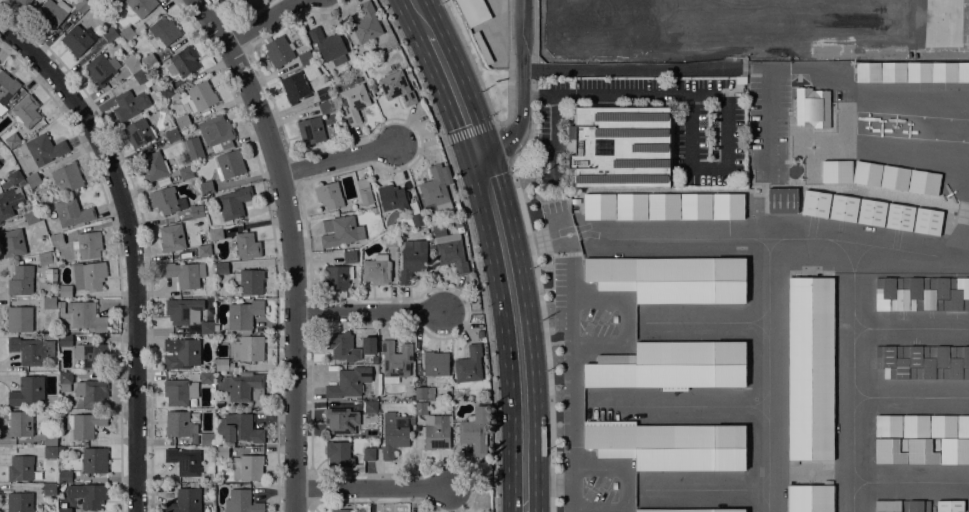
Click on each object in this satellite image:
building: (112, 0)
building: (90, 1)
building: (23, 3)
building: (81, 5)
building: (141, 6)
building: (52, 12)
road: (240, 16)
road: (420, 17)
road: (260, 21)
building: (366, 23)
building: (485, 28)
building: (127, 33)
building: (163, 33)
building: (109, 34)
building: (78, 39)
building: (328, 45)
building: (278, 52)
building: (305, 58)
road: (470, 59)
building: (149, 61)
building: (182, 62)
building: (131, 63)
road: (509, 65)
building: (100, 69)
building: (962, 71)
building: (868, 72)
building: (893, 72)
building: (918, 72)
building: (944, 72)
building: (141, 76)
building: (409, 76)
building: (7, 87)
building: (294, 87)
building: (396, 87)
road: (522, 87)
building: (166, 91)
road: (455, 91)
building: (323, 94)
road: (538, 95)
building: (201, 96)
road: (728, 100)
building: (354, 102)
building: (129, 104)
building: (802, 106)
building: (326, 107)
building: (821, 108)
building: (27, 111)
building: (182, 122)
building: (311, 131)
road: (468, 131)
building: (139, 132)
building: (217, 133)
building: (172, 134)
road: (554, 137)
road: (413, 138)
building: (12, 140)
building: (620, 147)
building: (193, 148)
building: (45, 149)
traffic signals: (478, 150)
road: (334, 158)
building: (229, 164)
building: (0, 166)
building: (153, 166)
building: (835, 171)
airport hangar: (837, 171)
building: (185, 172)
airport hangar: (867, 173)
building: (67, 177)
airport hangar: (895, 177)
building: (16, 178)
building: (895, 178)
building: (32, 180)
airport hangar: (924, 182)
building: (434, 186)
building: (206, 187)
building: (0, 189)
building: (364, 191)
building: (328, 195)
building: (392, 197)
building: (167, 200)
airport hangar: (782, 200)
building: (782, 200)
building: (9, 201)
building: (234, 202)
airport hangar: (815, 203)
building: (815, 203)
airport hangar: (727, 204)
building: (727, 204)
airport hangar: (598, 205)
building: (598, 205)
airport hangar: (630, 205)
building: (630, 205)
airport hangar: (663, 205)
building: (663, 205)
airport hangar: (695, 205)
building: (695, 205)
airport hangar: (844, 208)
building: (844, 208)
building: (196, 211)
building: (72, 212)
airport hangar: (871, 212)
building: (871, 212)
building: (411, 217)
airport hangar: (899, 217)
building: (899, 217)
building: (31, 218)
airport hangar: (927, 221)
building: (927, 221)
building: (457, 223)
building: (337, 230)
building: (215, 234)
building: (171, 237)
airport taxiway: (760, 238)
building: (56, 239)
building: (390, 240)
building: (12, 243)
building: (88, 245)
building: (247, 245)
road: (290, 245)
road: (131, 247)
road: (470, 247)
building: (204, 250)
building: (451, 252)
road: (531, 252)
building: (350, 256)
building: (46, 258)
building: (412, 261)
building: (221, 268)
building: (377, 270)
building: (50, 274)
building: (185, 274)
building: (89, 276)
building: (337, 277)
airport hangar: (670, 277)
building: (670, 277)
building: (21, 281)
building: (249, 281)
building: (65, 291)
airport hangar: (924, 293)
building: (924, 293)
road: (349, 297)
building: (49, 303)
airport: (773, 308)
road: (461, 310)
building: (183, 311)
road: (367, 311)
building: (243, 314)
building: (84, 317)
building: (19, 319)
building: (206, 327)
airport taxiway: (907, 327)
road: (516, 328)
airport taxiway: (858, 332)
building: (64, 340)
building: (368, 345)
building: (341, 346)
building: (248, 348)
building: (30, 350)
building: (181, 351)
building: (91, 355)
building: (374, 360)
building: (395, 360)
airport hangar: (924, 361)
building: (924, 361)
building: (435, 363)
building: (222, 364)
airport hangar: (671, 364)
building: (671, 364)
building: (468, 365)
airport hangar: (810, 367)
building: (810, 367)
airport taxiway: (768, 371)
building: (206, 377)
building: (65, 381)
building: (349, 382)
building: (243, 388)
building: (27, 391)
building: (91, 392)
building: (179, 392)
building: (424, 393)
airport taxiway: (852, 393)
airport taxiway: (907, 396)
airport taxiway: (858, 400)
building: (370, 407)
building: (421, 408)
building: (340, 420)
building: (20, 423)
building: (85, 424)
building: (178, 424)
airport hangar: (887, 424)
building: (887, 424)
airport hangar: (914, 425)
building: (914, 425)
airport hangar: (942, 425)
building: (942, 425)
airport hangar: (962, 425)
building: (962, 425)
building: (241, 428)
building: (475, 430)
building: (436, 431)
building: (394, 434)
building: (50, 439)
building: (207, 439)
airport hangar: (669, 444)
building: (669, 444)
airport hangar: (887, 449)
building: (887, 449)
airport hangar: (921, 449)
building: (921, 449)
airport hangar: (954, 450)
building: (954, 450)
building: (50, 452)
building: (221, 452)
building: (368, 452)
building: (341, 455)
building: (94, 460)
building: (183, 461)
building: (247, 467)
building: (20, 468)
building: (64, 476)
airport taxiway: (907, 480)
road: (468, 486)
airport taxiway: (858, 486)
road: (309, 487)
road: (370, 488)
building: (49, 489)
building: (87, 495)
airport hangar: (810, 497)
building: (810, 497)
building: (184, 501)
road: (374, 501)
building: (19, 502)
building: (241, 502)
airport hangar: (887, 505)
building: (887, 505)
airport hangar: (915, 505)
building: (915, 505)
airport hangar: (949, 505)
building: (949, 505)
airport hangar: (689, 509)
building: (689, 509)
building: (64, 510)
building: (340, 510)
building: (365, 511)

